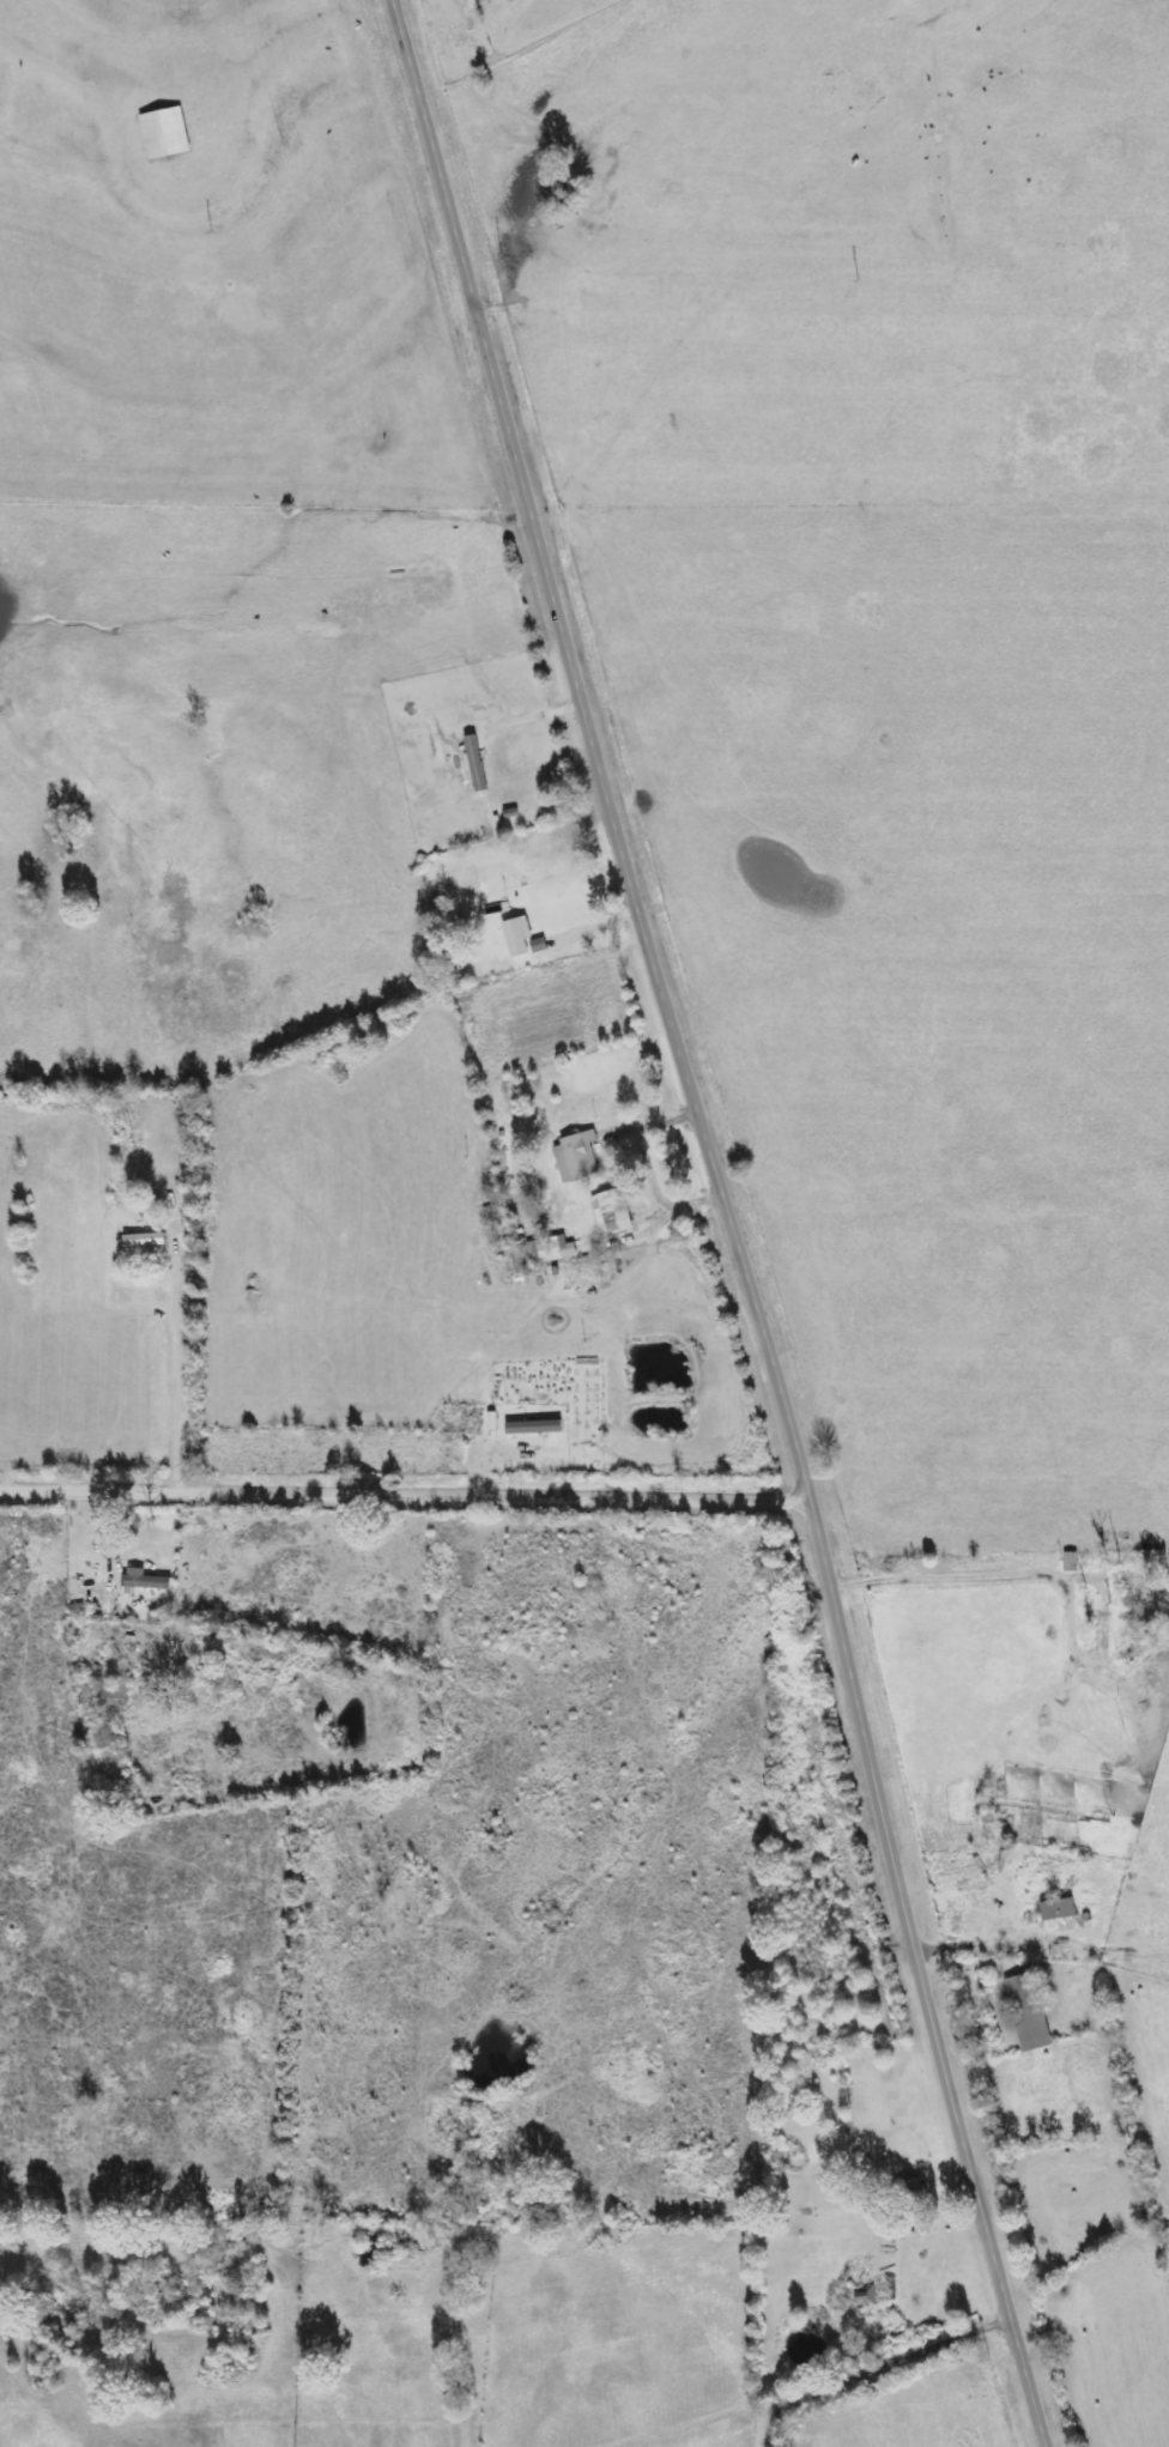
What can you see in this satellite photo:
building: (164, 133)
building: (516, 935)
building: (576, 1156)
building: (612, 1213)
road: (729, 1221)
building: (545, 1252)
building: (533, 1428)
road: (405, 1495)
building: (144, 1581)
building: (1058, 1909)
building: (1028, 2012)
building: (909, 2192)
building: (867, 2297)

